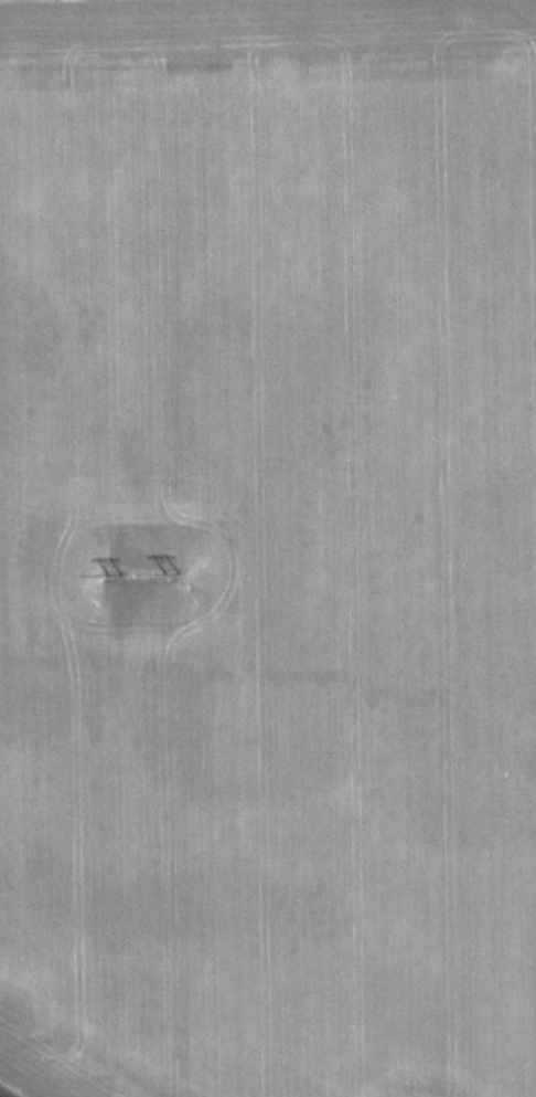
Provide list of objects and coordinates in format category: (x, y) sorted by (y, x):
power tower: (170, 569)
power tower: (112, 570)

